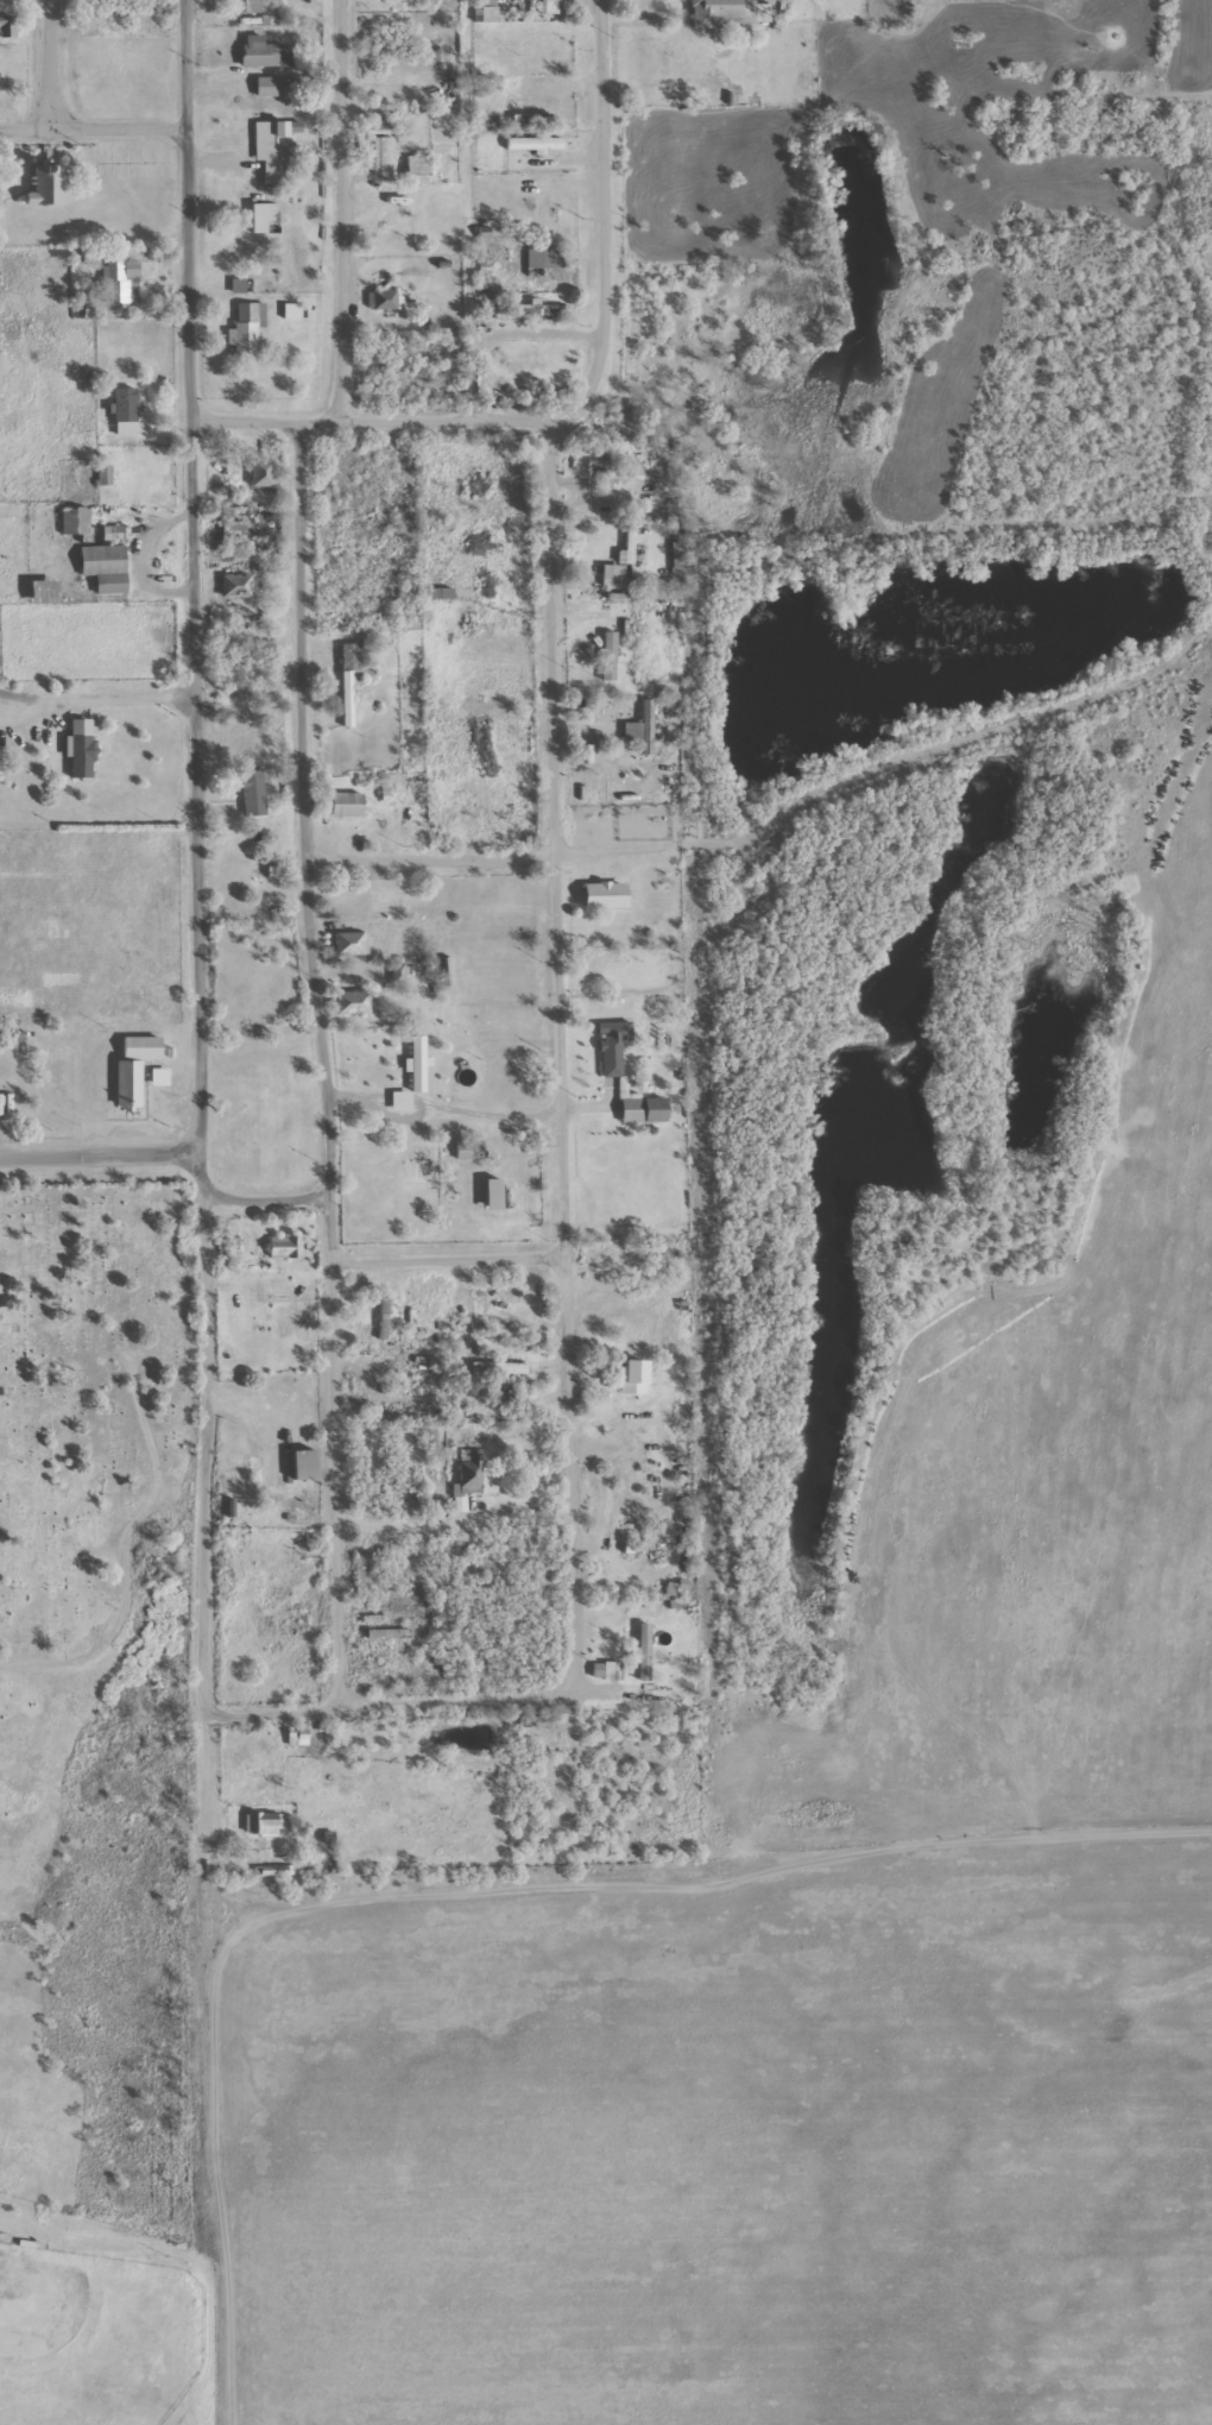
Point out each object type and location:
building: (245, 6)
building: (718, 13)
building: (5, 26)
building: (959, 37)
building: (259, 52)
road: (48, 64)
building: (4, 82)
building: (272, 87)
building: (528, 119)
building: (375, 125)
road: (90, 130)
building: (530, 143)
building: (270, 150)
building: (414, 169)
building: (42, 187)
road: (337, 212)
road: (599, 218)
building: (405, 227)
building: (538, 258)
building: (120, 279)
building: (384, 298)
building: (538, 310)
building: (244, 329)
building: (490, 384)
building: (121, 411)
road: (450, 421)
building: (598, 468)
building: (257, 473)
building: (645, 473)
building: (70, 519)
building: (228, 529)
building: (624, 543)
building: (674, 561)
building: (101, 567)
building: (607, 575)
building: (231, 585)
building: (40, 591)
building: (604, 599)
building: (467, 615)
building: (614, 664)
building: (346, 678)
building: (498, 681)
building: (636, 731)
building: (77, 748)
building: (248, 793)
building: (342, 804)
road: (732, 836)
road: (195, 857)
road: (500, 859)
building: (600, 894)
building: (346, 941)
building: (347, 1002)
building: (608, 1046)
road: (554, 1057)
road: (321, 1063)
building: (130, 1067)
building: (651, 1109)
building: (465, 1149)
road: (95, 1157)
road: (265, 1199)
building: (282, 1247)
road: (518, 1254)
road: (974, 1352)
building: (494, 1368)
building: (629, 1375)
building: (678, 1407)
building: (299, 1463)
building: (465, 1470)
park: (78, 1487)
building: (295, 1500)
road: (118, 1543)
building: (383, 1633)
building: (630, 1648)
road: (362, 1654)
building: (601, 1669)
road: (406, 1700)
building: (292, 1736)
building: (257, 1824)
road: (207, 2070)

